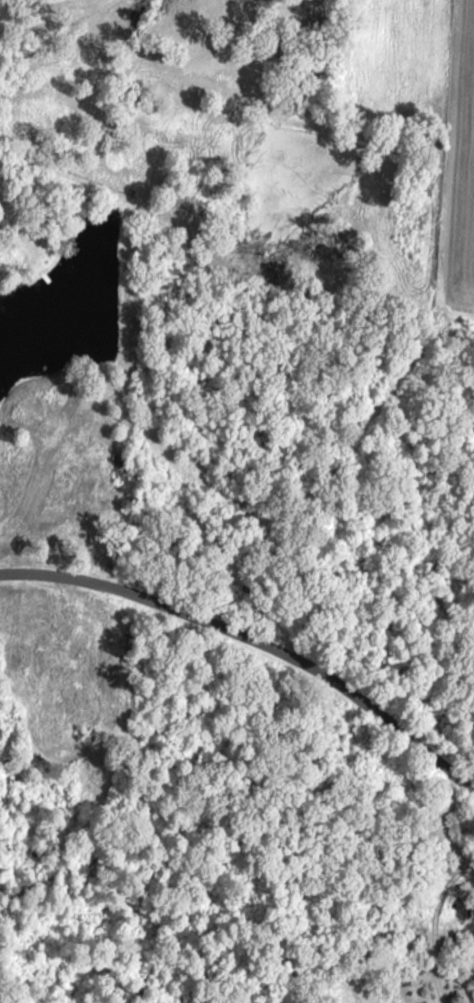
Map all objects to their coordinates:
road: (253, 650)

